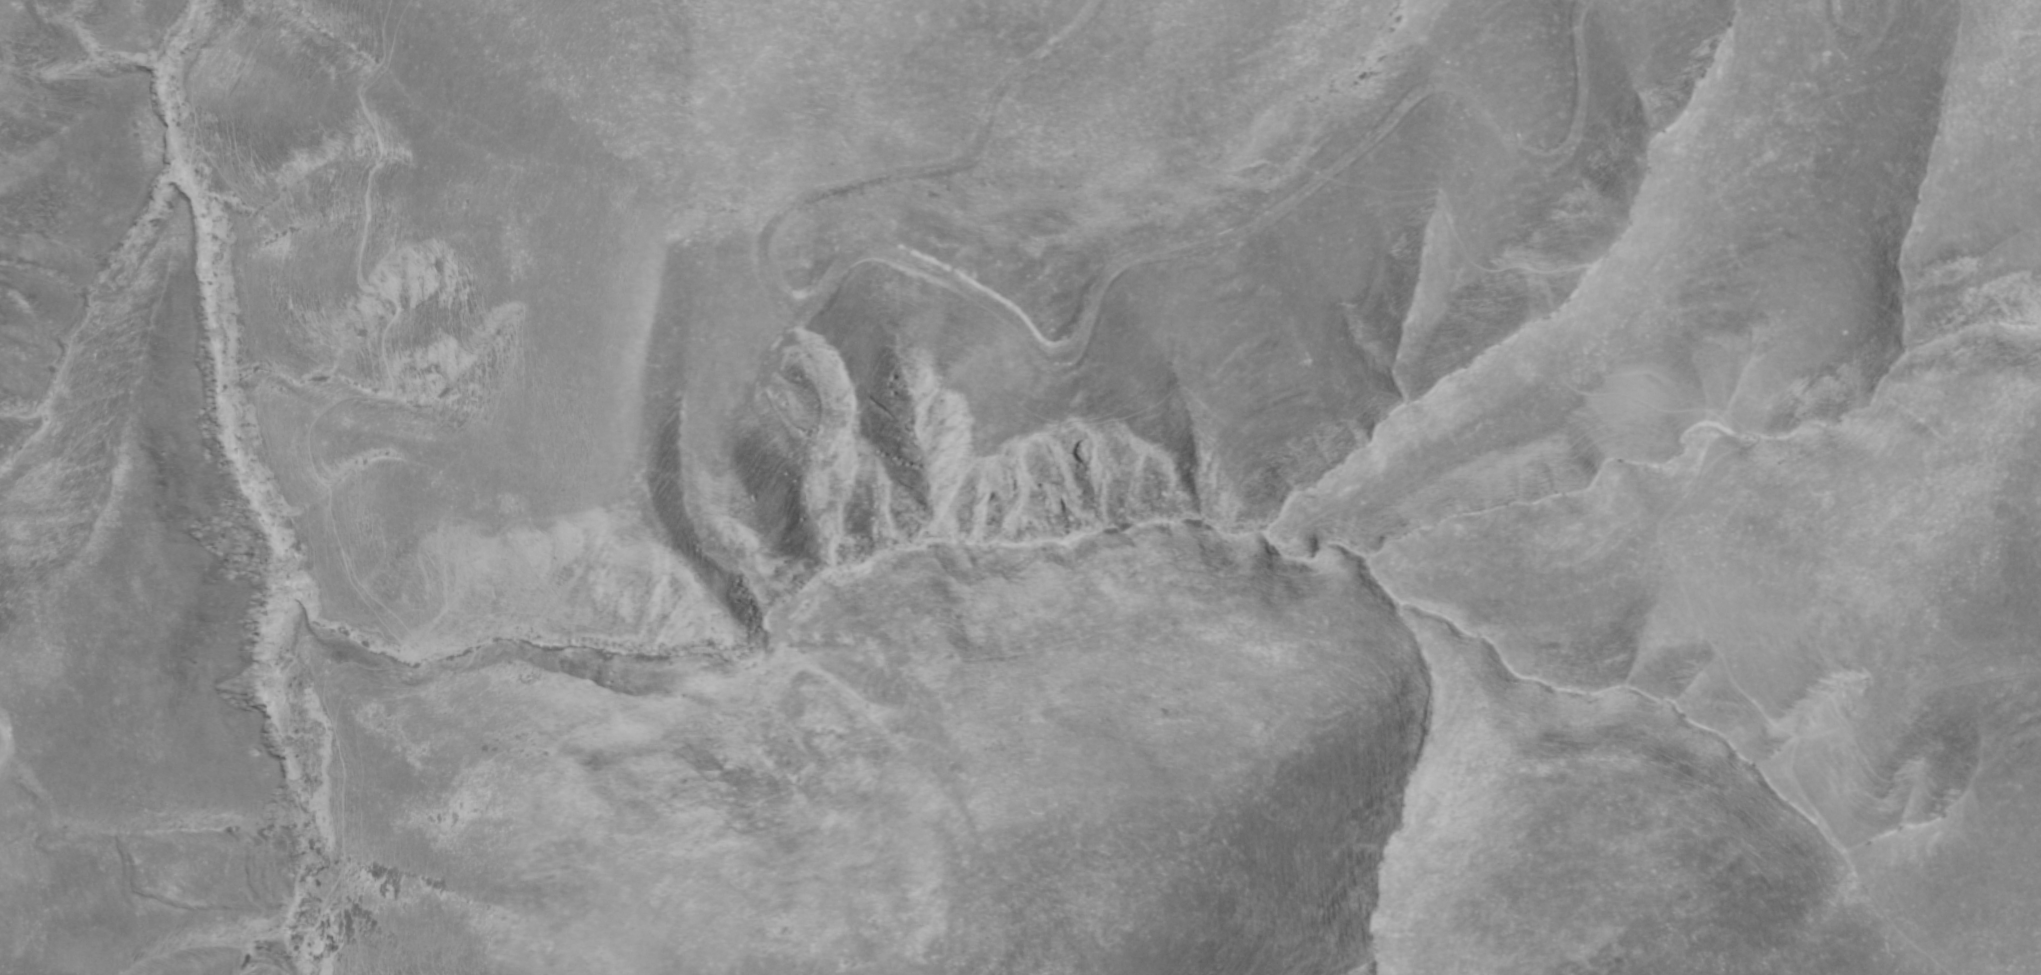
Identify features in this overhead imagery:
road: (80, 829)

